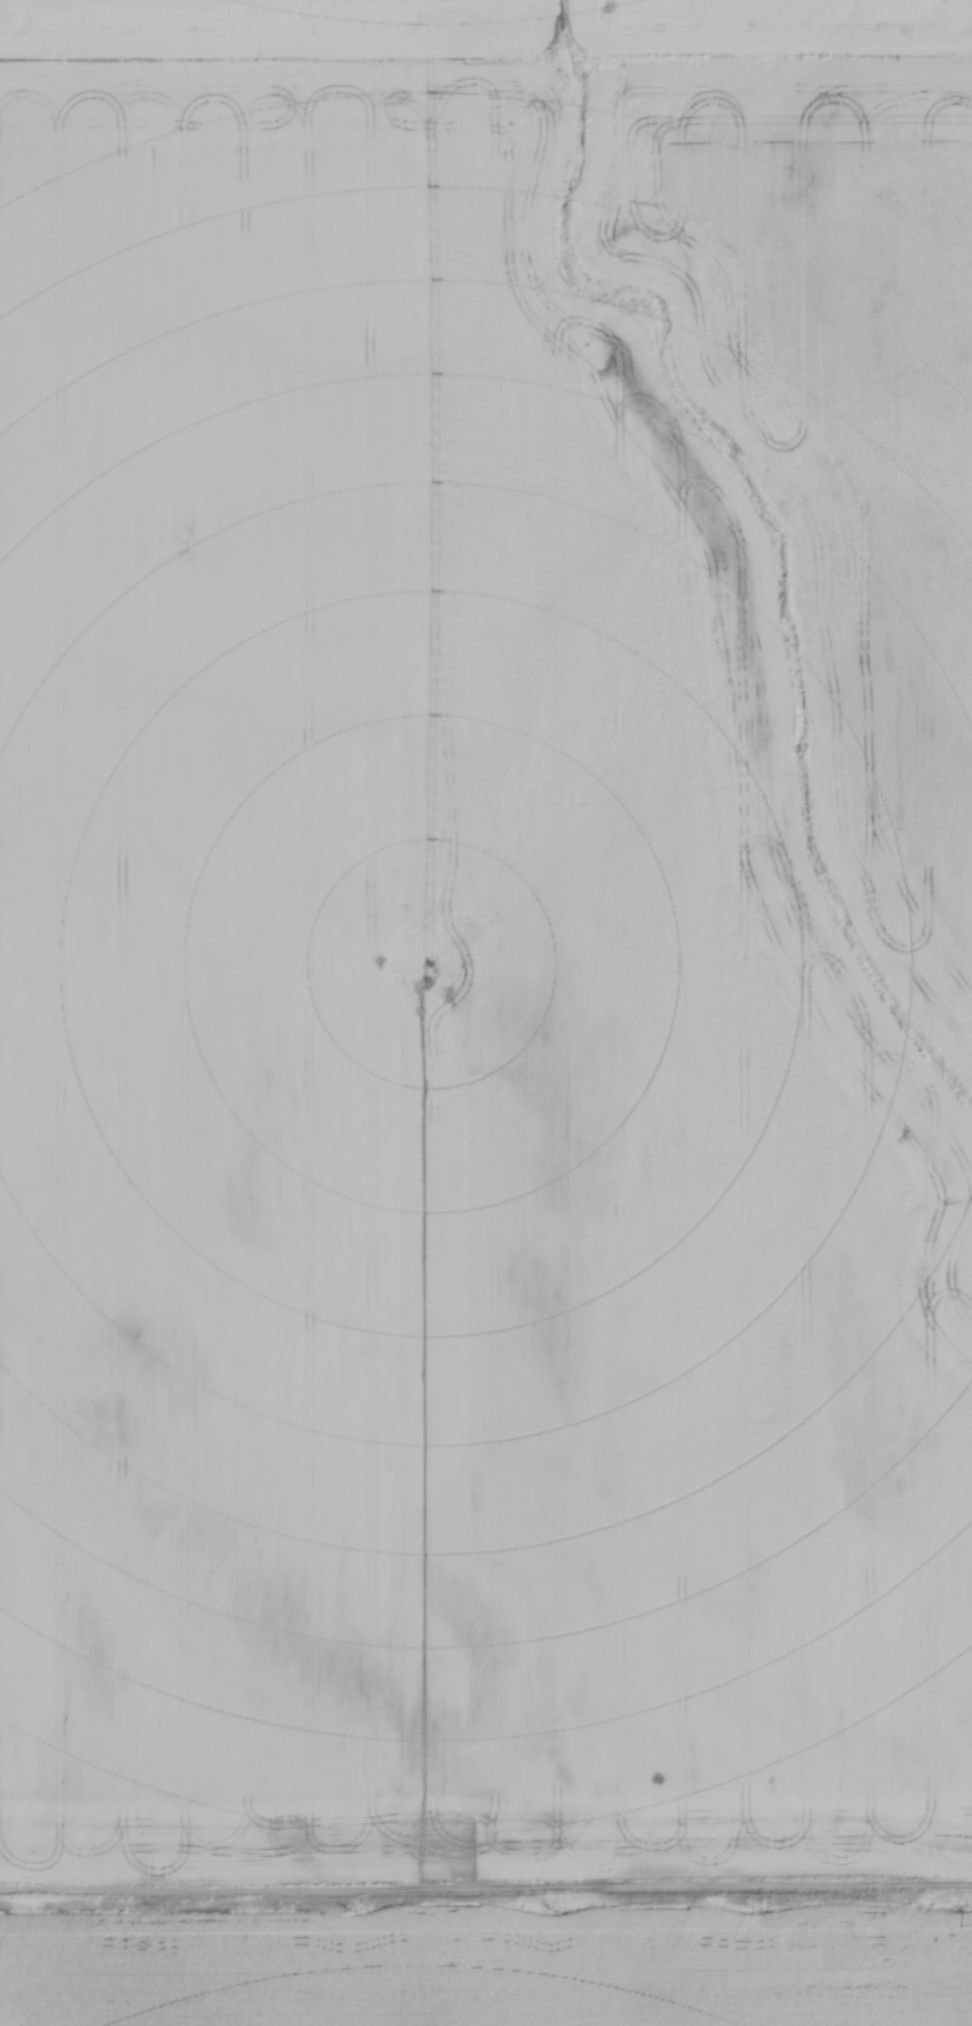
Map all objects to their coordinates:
road: (486, 1893)

